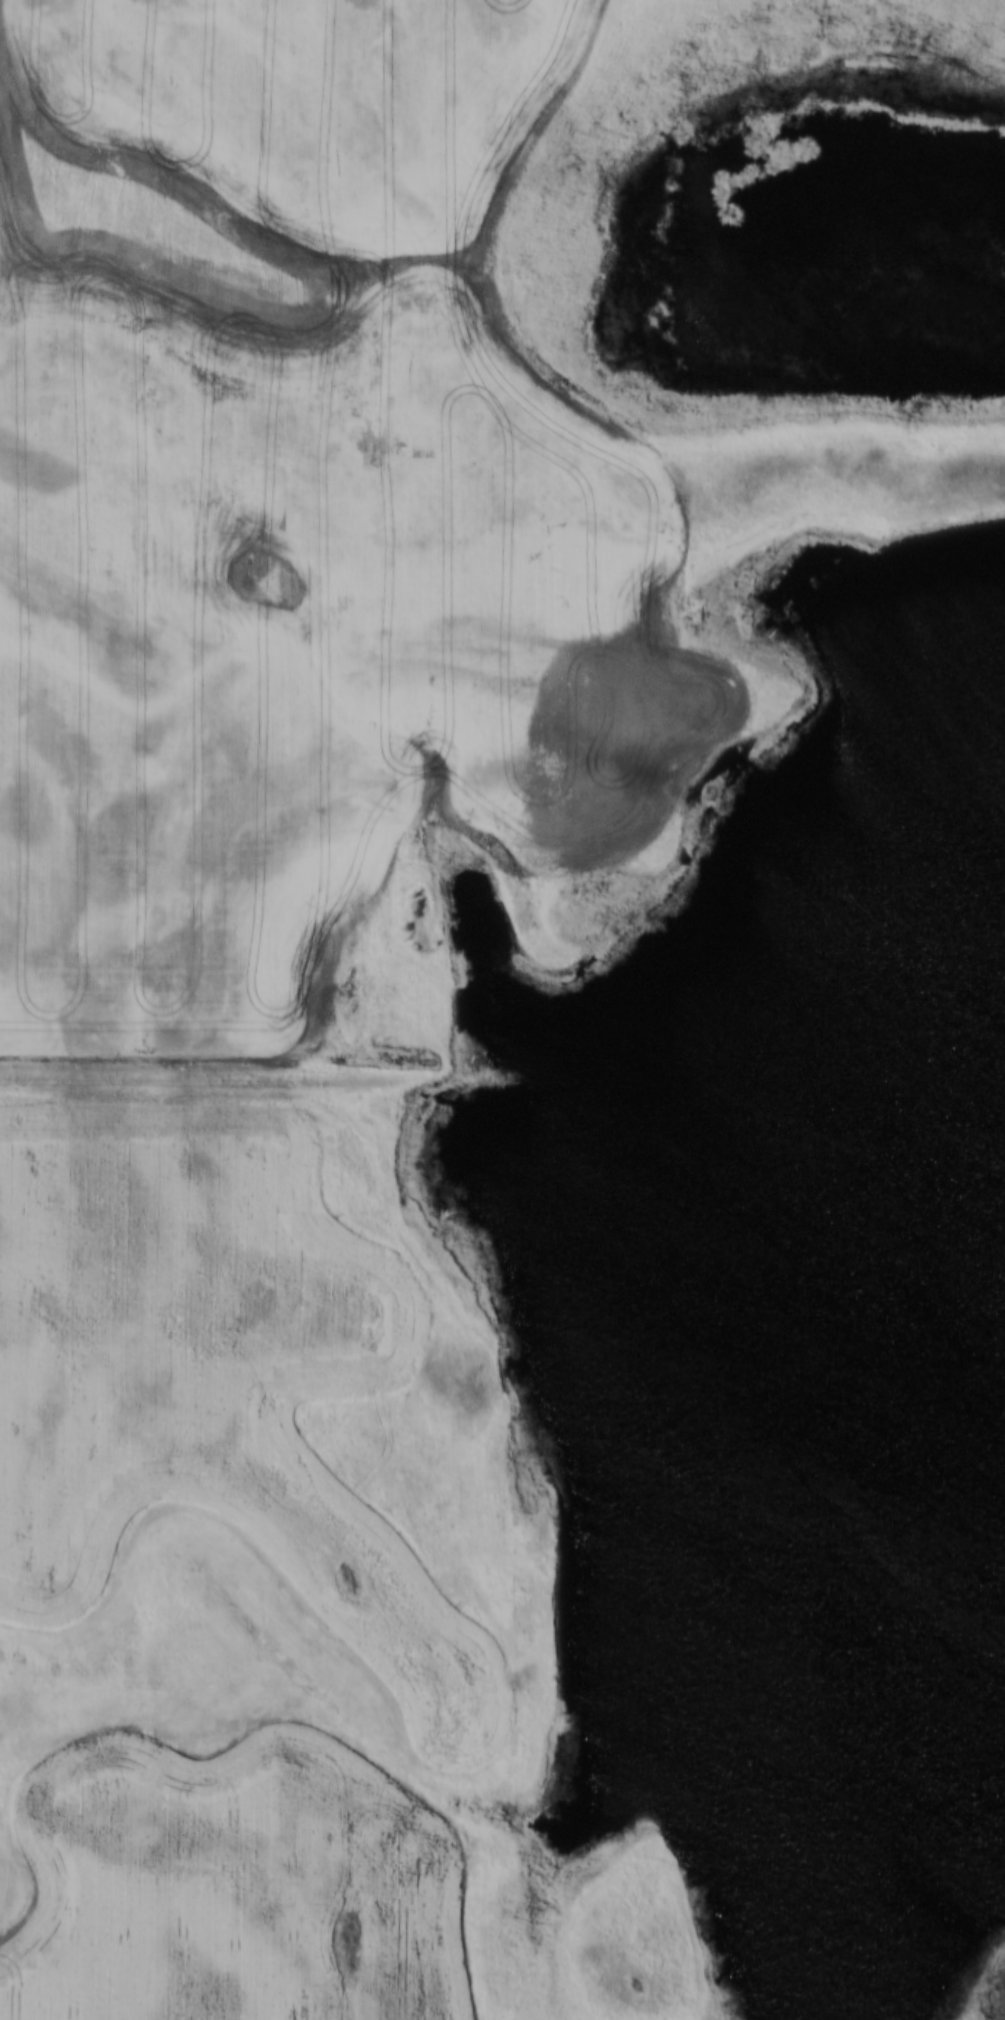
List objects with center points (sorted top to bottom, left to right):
road: (176, 1080)

